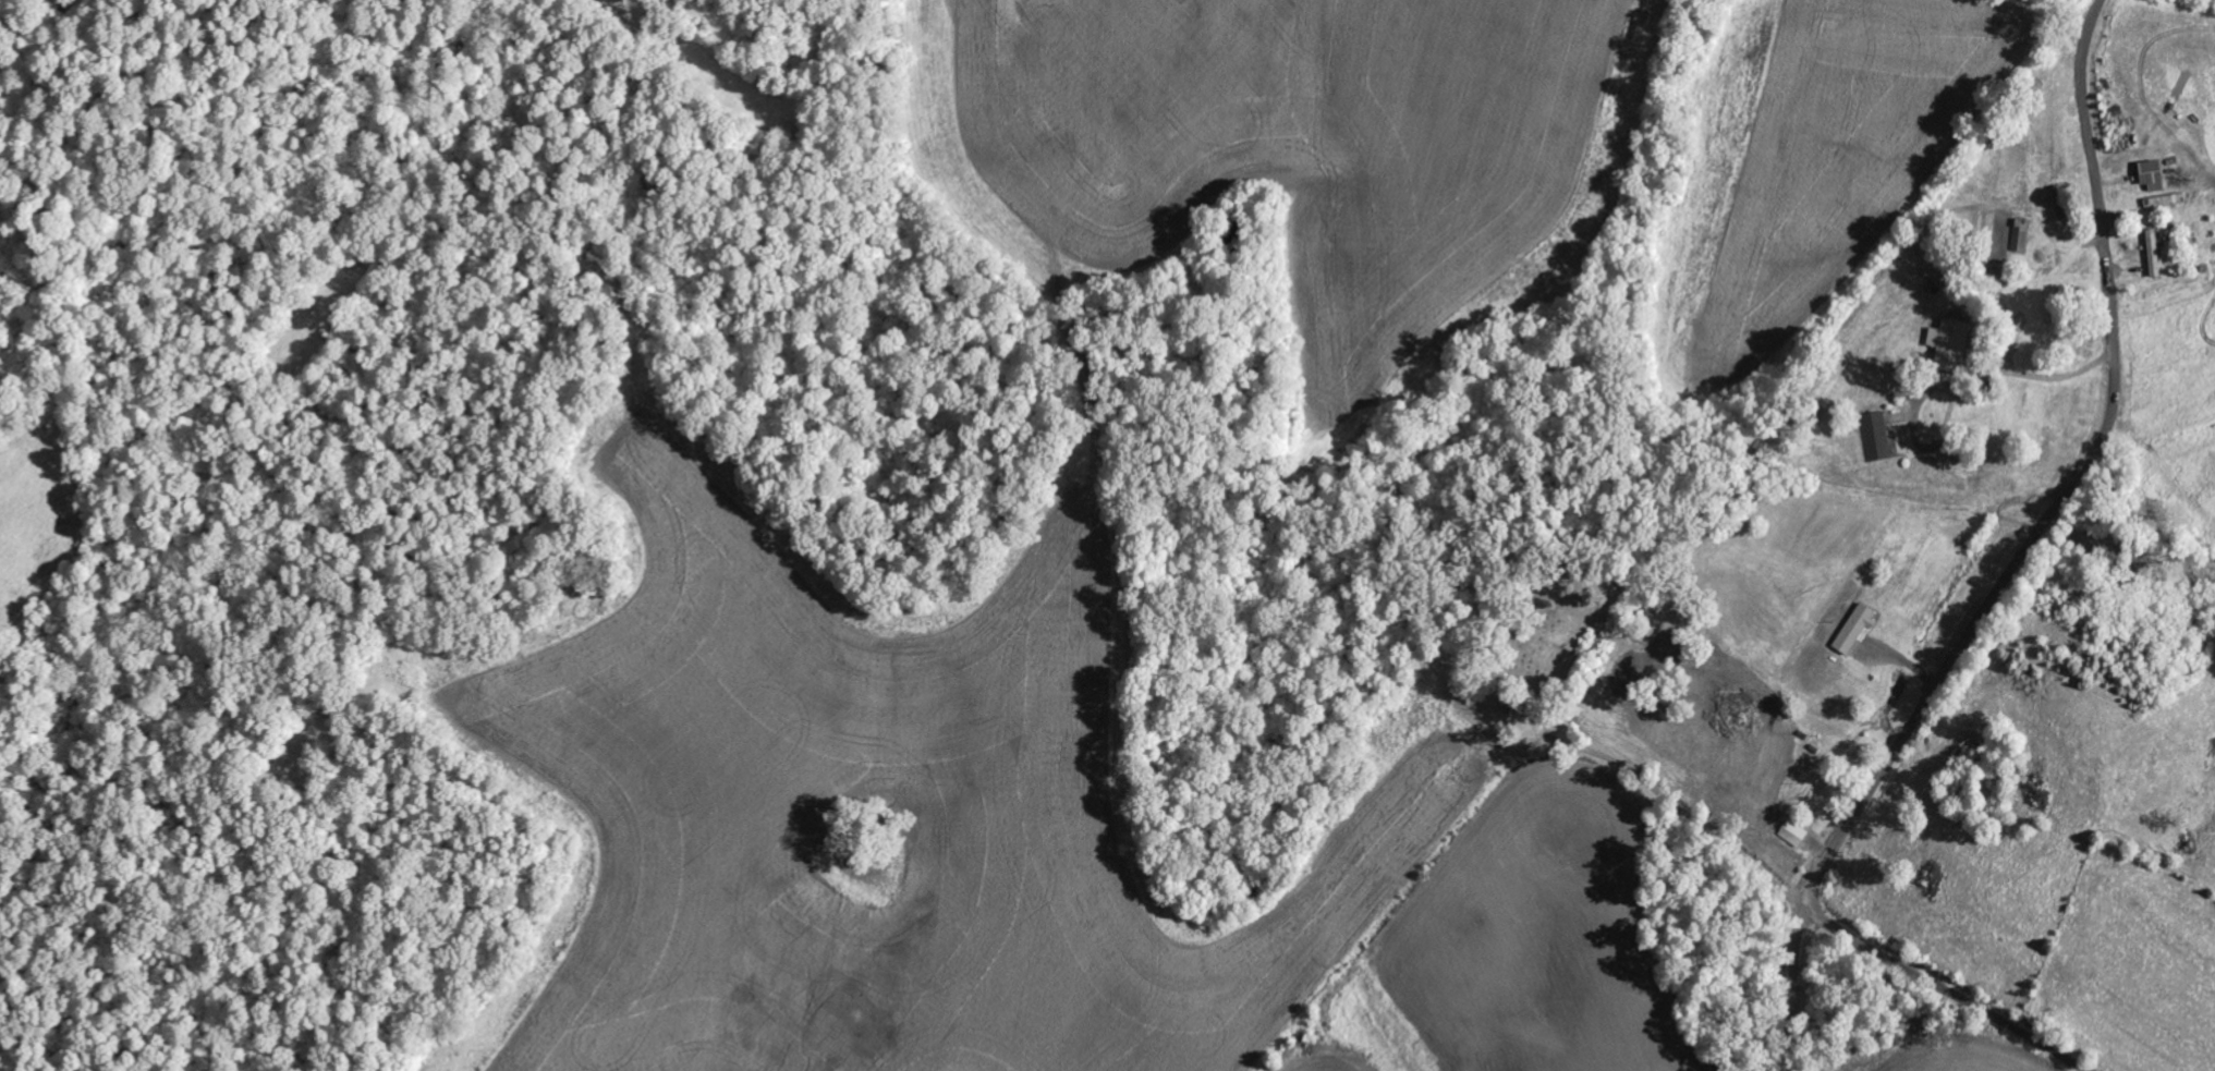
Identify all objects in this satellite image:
building: (2150, 174)
building: (2153, 252)
building: (1948, 343)
building: (1876, 436)
road: (2023, 551)
building: (1854, 629)
park: (1539, 641)
road: (1671, 802)
building: (1794, 832)
road: (1943, 989)

